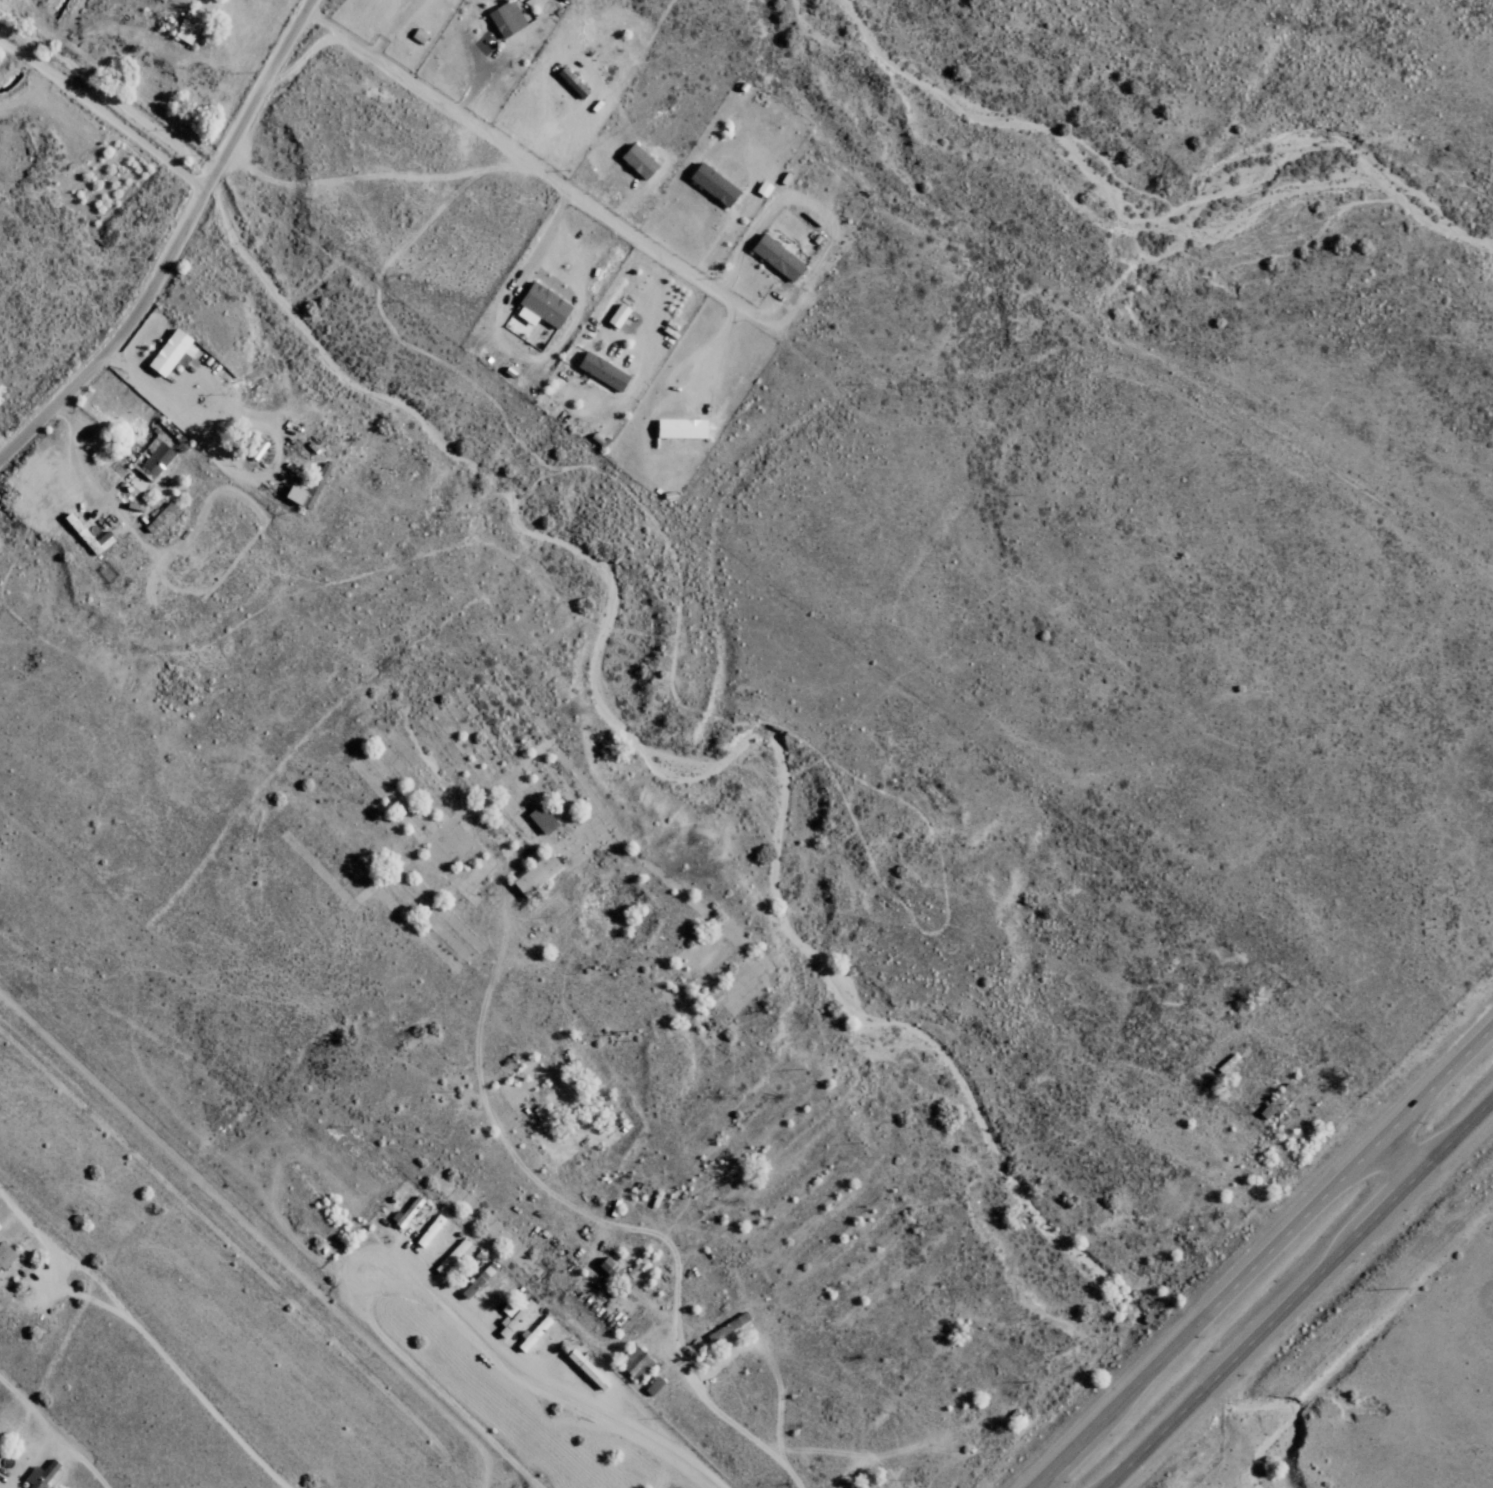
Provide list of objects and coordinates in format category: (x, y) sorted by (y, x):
building: (503, 18)
building: (188, 24)
building: (569, 81)
road: (313, 148)
building: (635, 160)
building: (710, 183)
building: (761, 188)
road: (221, 215)
road: (178, 239)
building: (773, 256)
road: (99, 269)
building: (538, 305)
building: (615, 315)
road: (48, 351)
building: (169, 352)
building: (599, 370)
road: (13, 409)
building: (679, 428)
building: (256, 449)
building: (151, 460)
building: (289, 488)
building: (160, 516)
building: (85, 535)
building: (539, 817)
building: (534, 872)
road: (134, 998)
road: (1384, 1060)
building: (1274, 1099)
road: (1400, 1157)
road: (395, 1168)
road: (1104, 1183)
building: (404, 1211)
building: (428, 1230)
building: (4, 1254)
building: (450, 1257)
road: (1265, 1258)
building: (611, 1273)
building: (476, 1280)
road: (1298, 1293)
building: (512, 1315)
building: (727, 1329)
building: (532, 1333)
building: (632, 1362)
building: (584, 1368)
road: (1033, 1381)
building: (651, 1385)
building: (1019, 1419)
storage tank: (1019, 1419)
road: (410, 1434)
building: (39, 1474)
building: (864, 1485)

